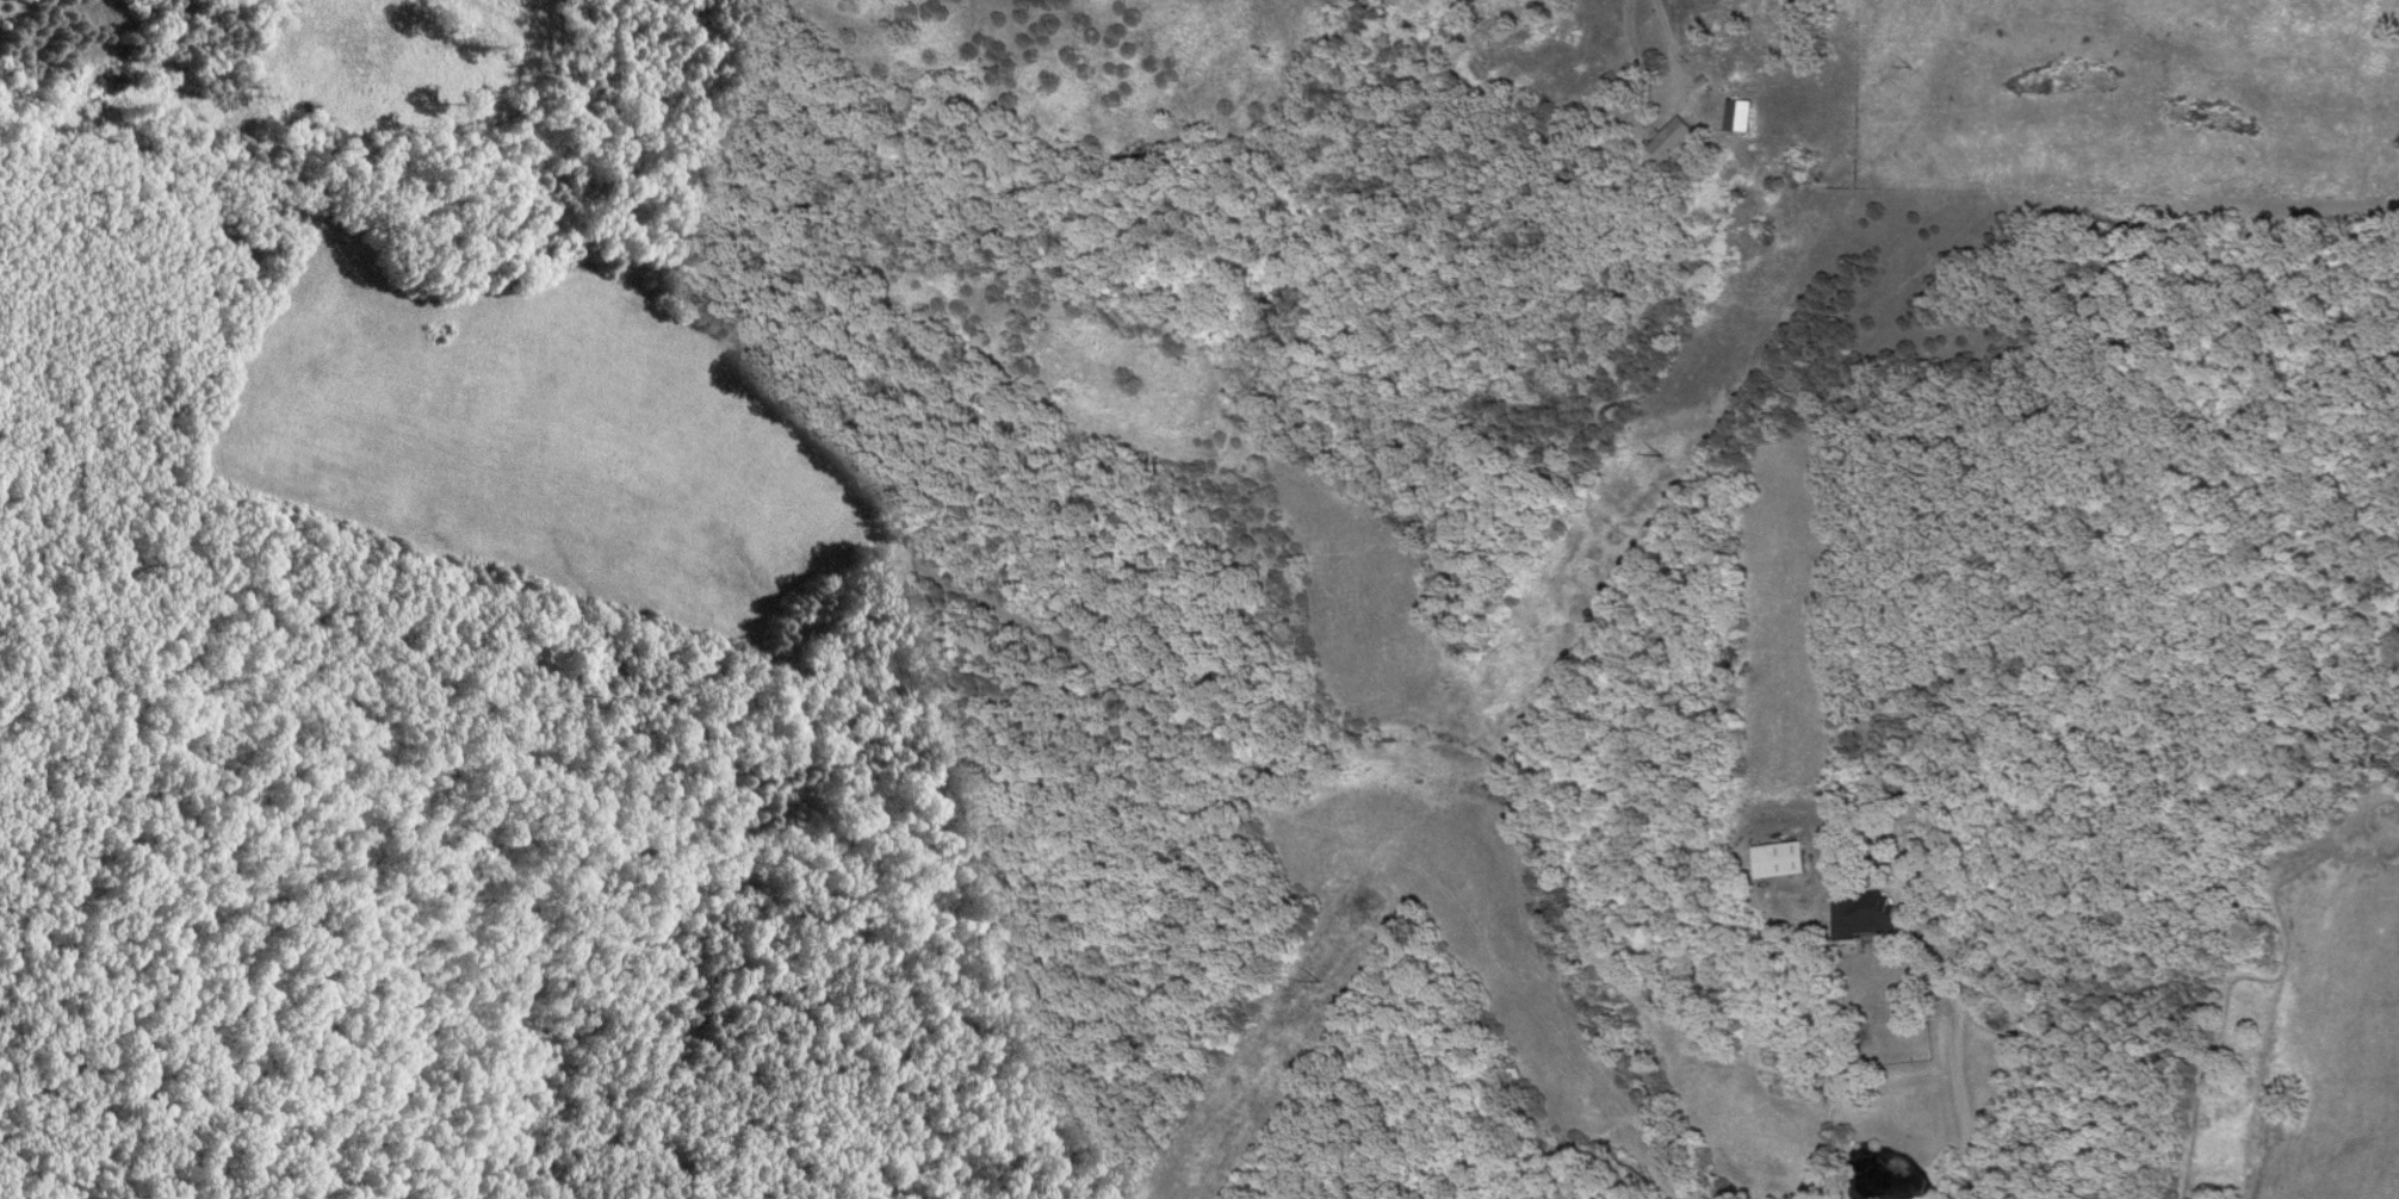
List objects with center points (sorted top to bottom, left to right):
road: (1666, 97)
building: (1732, 116)
building: (1666, 139)
building: (1773, 862)
building: (1859, 918)
road: (1953, 1036)

